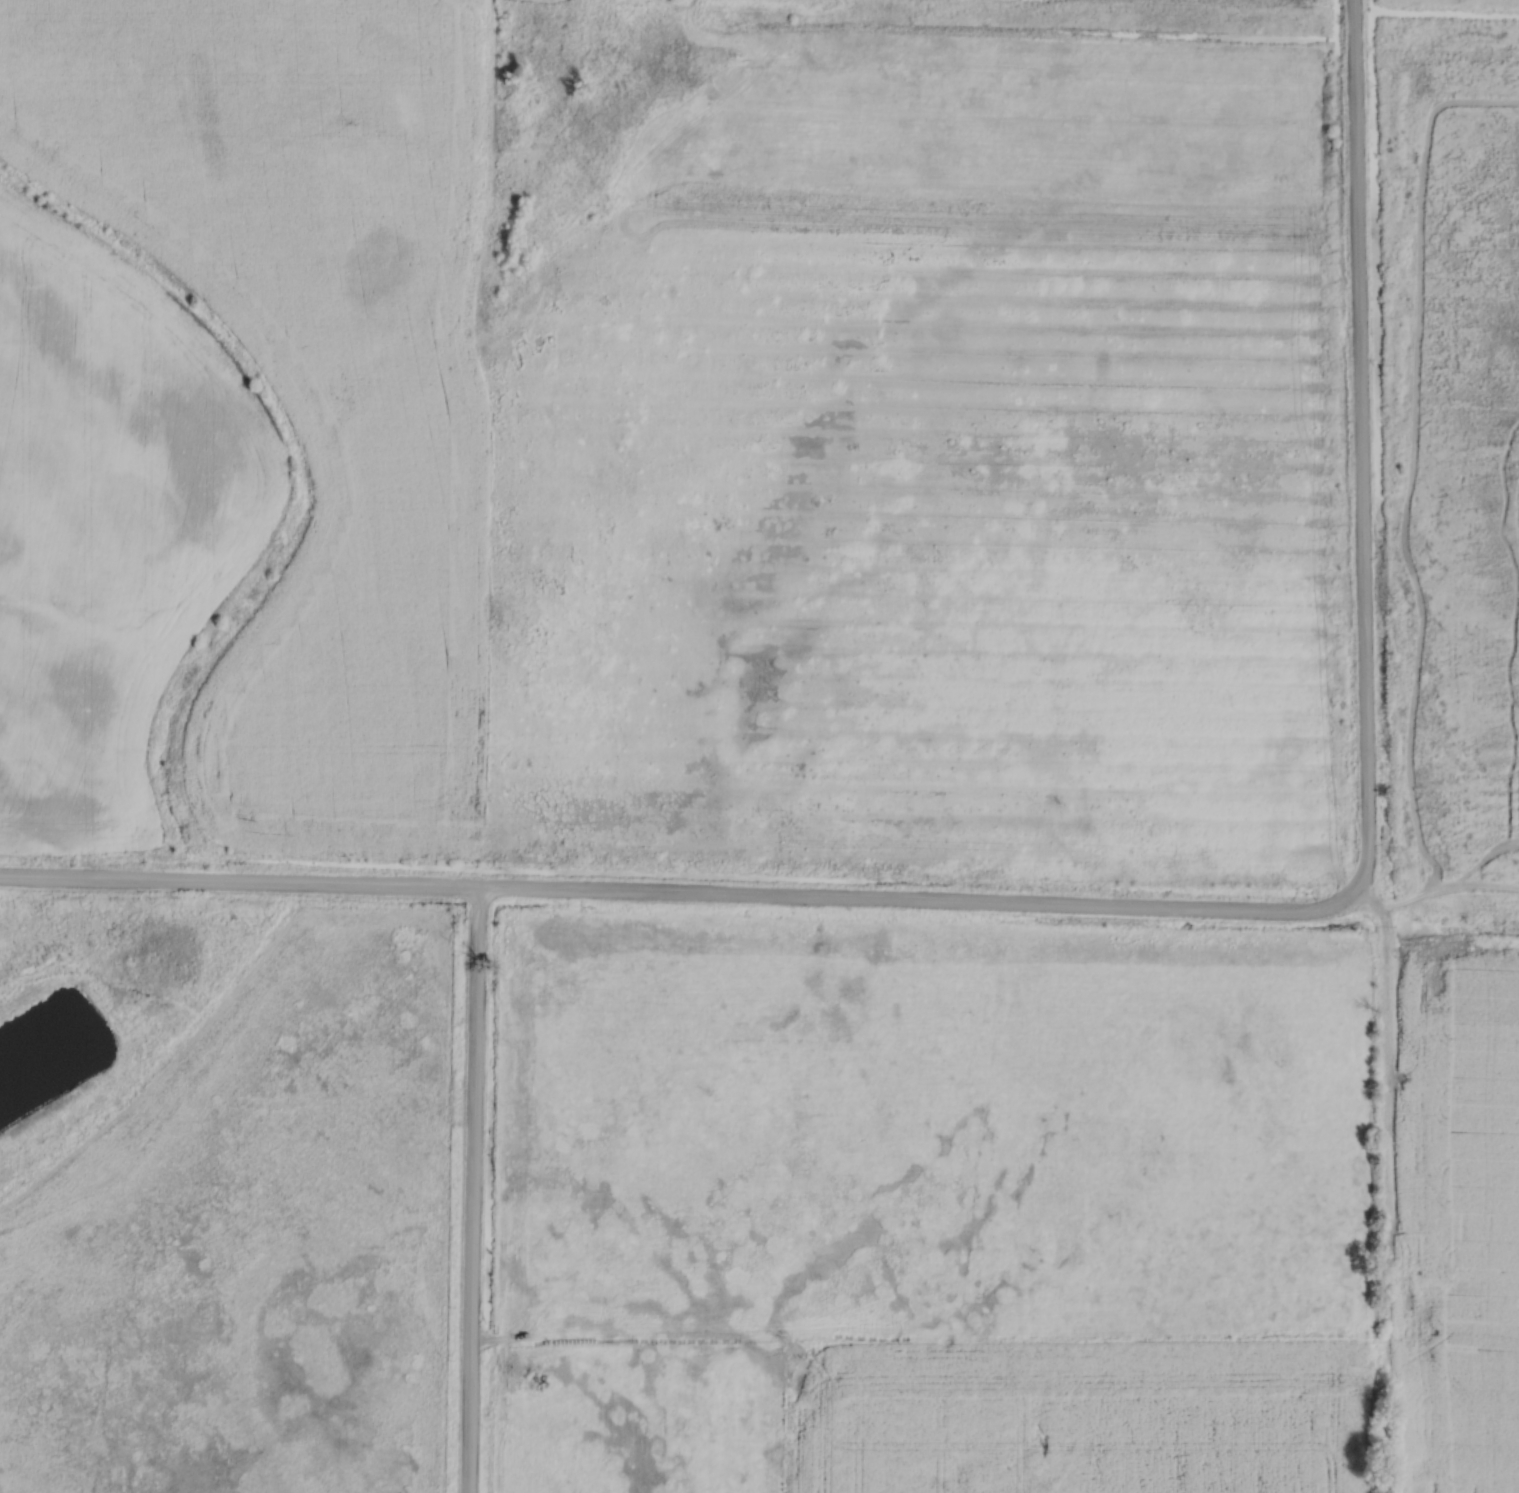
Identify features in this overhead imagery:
road: (1358, 445)
road: (682, 891)
road: (475, 1189)

